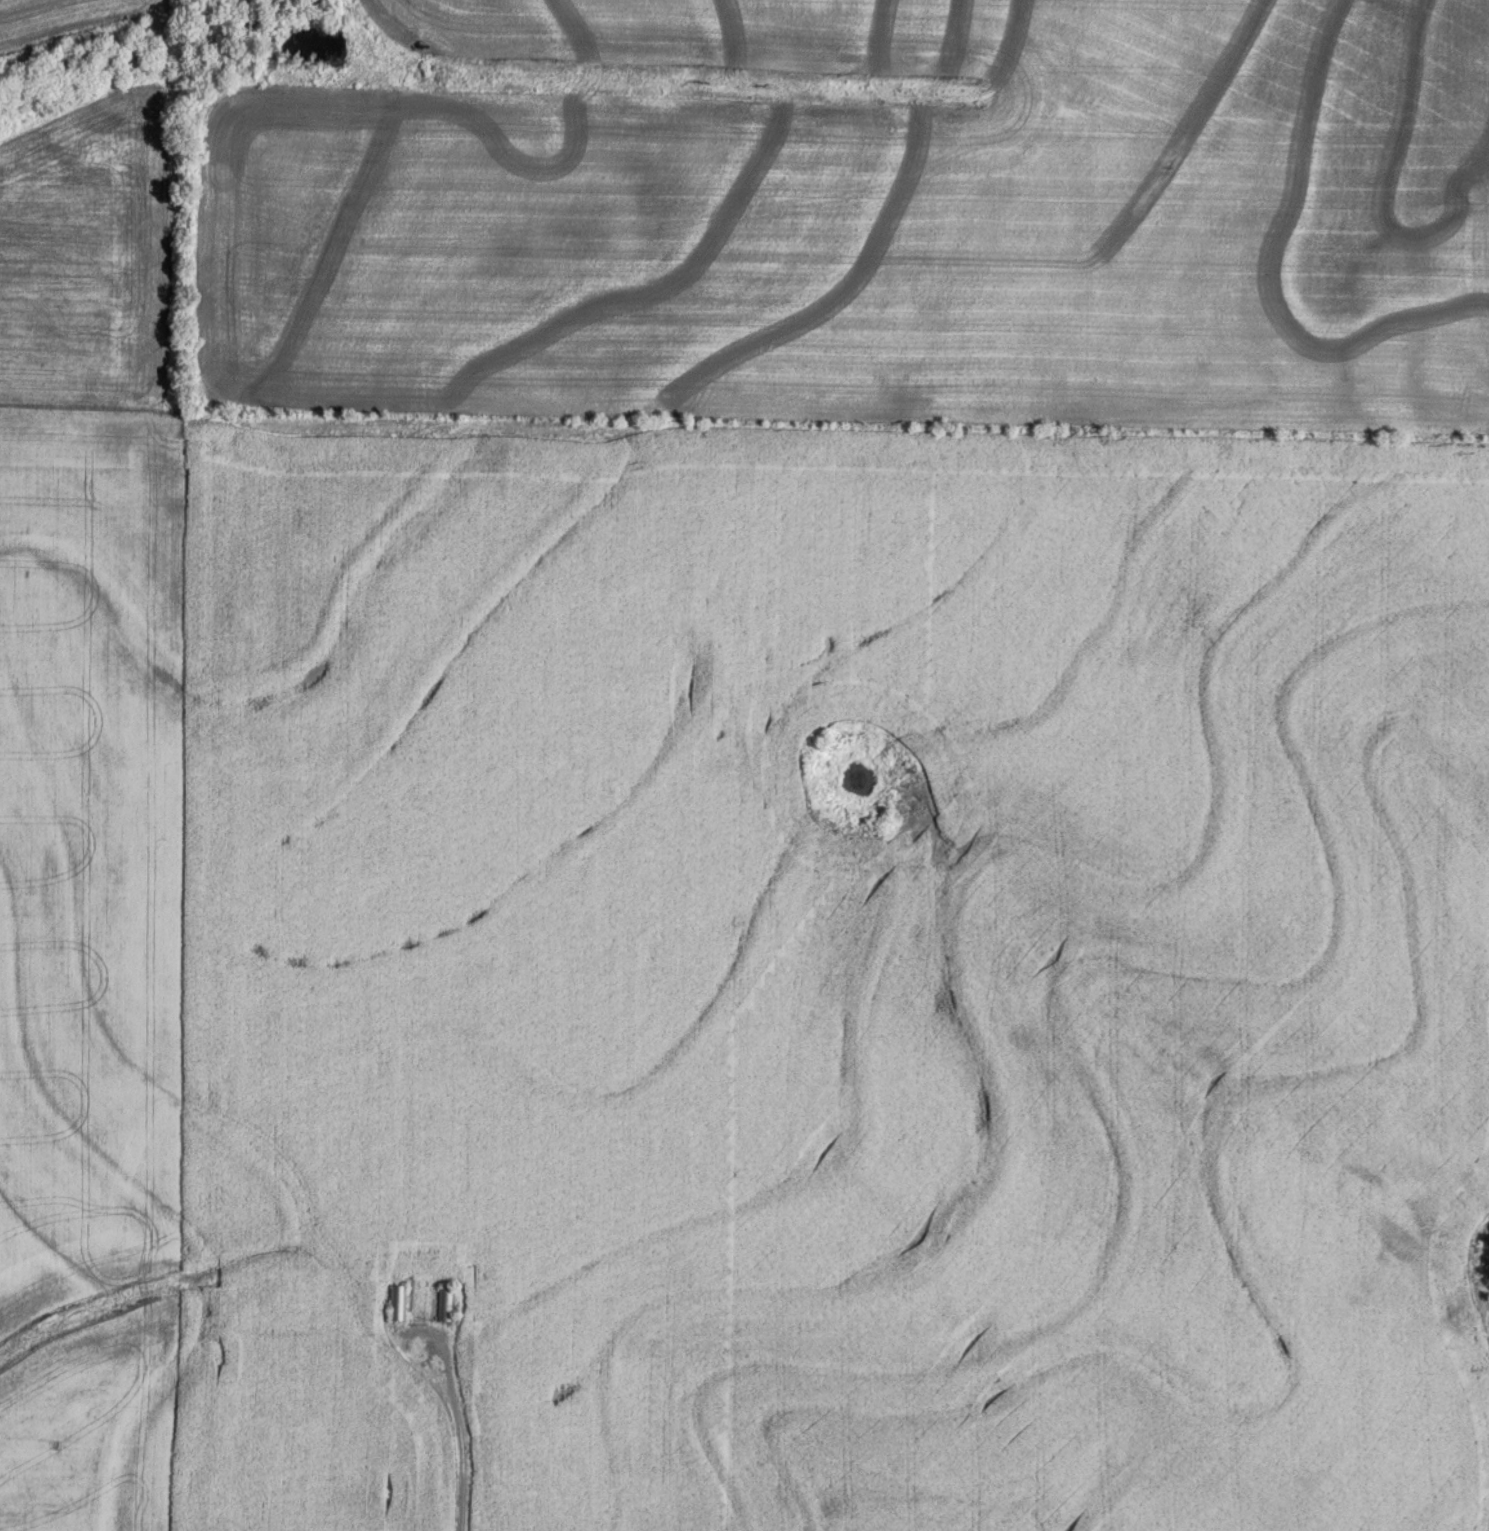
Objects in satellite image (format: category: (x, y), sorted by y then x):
building: (397, 1302)
building: (445, 1304)

